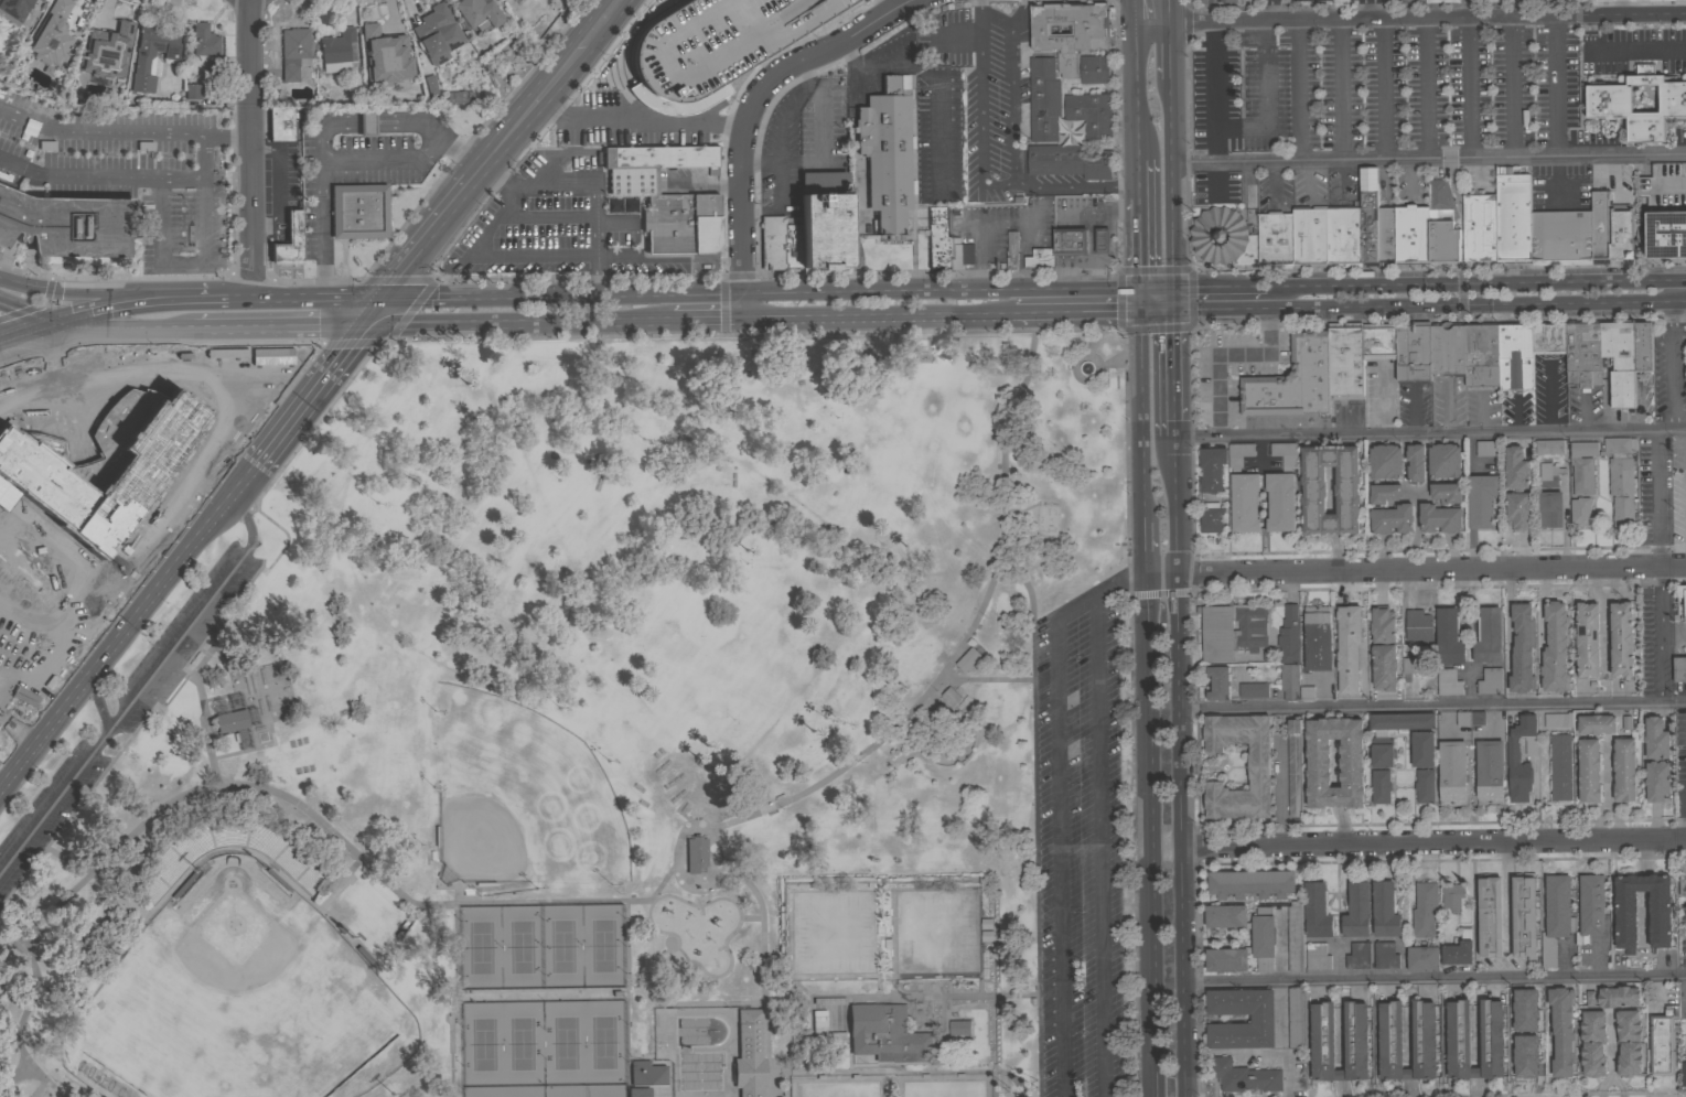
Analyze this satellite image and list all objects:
building: (40, 0)
building: (1440, 0)
building: (1220, 1)
building: (1411, 2)
building: (1545, 3)
road: (1673, 7)
road: (1469, 8)
road: (1275, 9)
road: (1367, 9)
building: (13, 10)
road: (1136, 11)
road: (1170, 11)
building: (477, 13)
road: (1410, 15)
building: (384, 32)
road: (1591, 32)
building: (51, 33)
building: (436, 33)
building: (203, 41)
building: (716, 41)
building: (1068, 42)
building: (335, 49)
road: (1639, 49)
road: (1170, 51)
building: (106, 52)
building: (293, 52)
building: (151, 54)
building: (386, 58)
building: (1094, 68)
building: (210, 72)
road: (933, 82)
building: (1070, 82)
building: (430, 84)
road: (1555, 86)
road: (1470, 87)
road: (1508, 87)
road: (1427, 88)
road: (1340, 89)
road: (1383, 89)
road: (1299, 90)
parking lot: (1382, 90)
building: (192, 92)
road: (540, 92)
road: (1138, 92)
road: (1212, 93)
building: (1043, 98)
building: (1609, 98)
road: (754, 101)
building: (1091, 112)
road: (634, 120)
building: (366, 122)
building: (280, 123)
road: (397, 125)
road: (324, 128)
road: (99, 132)
road: (204, 137)
road: (451, 144)
road: (250, 148)
building: (887, 152)
road: (388, 154)
building: (1068, 160)
road: (1429, 160)
road: (77, 173)
road: (492, 173)
road: (1615, 178)
road: (1556, 181)
road: (1140, 182)
road: (1173, 182)
road: (1077, 183)
road: (1000, 184)
road: (1672, 186)
road: (514, 194)
building: (666, 196)
building: (358, 212)
building: (1513, 215)
building: (1368, 216)
road: (998, 222)
building: (1442, 223)
road: (322, 224)
building: (67, 225)
building: (1479, 226)
building: (1599, 226)
building: (807, 234)
building: (1218, 234)
building: (1411, 234)
building: (1666, 234)
building: (1310, 236)
building: (1343, 236)
building: (1386, 236)
building: (1621, 236)
building: (1561, 237)
road: (423, 239)
building: (1102, 239)
building: (1275, 239)
building: (1071, 240)
building: (289, 243)
building: (945, 244)
road: (1141, 245)
building: (1012, 251)
road: (580, 254)
road: (595, 255)
building: (1040, 258)
road: (203, 262)
road: (1189, 268)
road: (1438, 268)
road: (1673, 278)
road: (1462, 280)
road: (599, 283)
road: (1220, 284)
road: (1158, 286)
traffic signals: (1173, 286)
road: (942, 289)
road: (74, 292)
road: (707, 292)
road: (1461, 292)
road: (582, 294)
road: (187, 295)
road: (437, 295)
road: (265, 297)
road: (343, 297)
traffic signals: (380, 297)
road: (1173, 297)
road: (1142, 298)
road: (119, 302)
road: (1474, 302)
road: (742, 304)
road: (1218, 308)
road: (1075, 309)
traffic signals: (1142, 309)
road: (1158, 309)
road: (371, 310)
road: (877, 313)
road: (23, 315)
road: (67, 315)
road: (705, 316)
road: (1439, 319)
road: (514, 321)
road: (323, 323)
traffic signals: (361, 323)
traffic signals: (46, 325)
road: (118, 325)
road: (238, 325)
road: (23, 333)
road: (758, 334)
building: (1549, 336)
building: (1379, 341)
building: (1643, 346)
building: (1447, 347)
building: (1414, 351)
building: (1583, 353)
road: (1225, 354)
building: (1481, 354)
building: (1515, 355)
building: (1684, 355)
building: (1620, 359)
building: (1345, 361)
road: (1673, 363)
fountain: (1084, 368)
fountain: (1085, 368)
road: (1173, 373)
road: (243, 379)
building: (1292, 379)
road: (1550, 395)
road: (308, 396)
road: (1449, 406)
road: (1415, 409)
road: (1483, 411)
road: (1143, 413)
road: (1429, 432)
building: (1549, 445)
building: (1285, 453)
building: (1239, 454)
building: (1443, 460)
building: (1385, 461)
building: (1415, 462)
building: (1582, 466)
building: (1211, 469)
building: (31, 472)
building: (1549, 472)
building: (1621, 477)
building: (1517, 488)
building: (1346, 490)
building: (1446, 492)
building: (1384, 493)
road: (1656, 495)
building: (1482, 499)
building: (1280, 501)
building: (1245, 502)
road: (3, 506)
building: (1549, 508)
road: (1019, 510)
building: (1580, 510)
building: (1506, 513)
road: (1130, 516)
road: (15, 517)
building: (1211, 517)
building: (1440, 517)
building: (1390, 518)
road: (1145, 546)
road: (51, 559)
road: (1416, 568)
road: (1612, 582)
road: (1023, 585)
road: (121, 596)
road: (1099, 596)
building: (1682, 600)
road: (1604, 616)
building: (1383, 624)
building: (1419, 626)
building: (1352, 627)
building: (1232, 628)
road: (127, 630)
building: (1289, 633)
road: (1661, 633)
building: (1489, 635)
building: (1448, 636)
building: (1318, 637)
building: (1588, 638)
building: (1608, 639)
building: (1622, 639)
building: (1574, 641)
road: (960, 642)
building: (1543, 647)
building: (1555, 647)
building: (1522, 648)
building: (1342, 657)
building: (1510, 657)
building: (968, 658)
building: (1410, 665)
building: (1384, 666)
building: (1679, 668)
road: (988, 680)
building: (1289, 680)
building: (1218, 681)
building: (1448, 681)
building: (1490, 681)
road: (140, 687)
building: (1347, 687)
building: (1253, 689)
building: (1307, 692)
building: (951, 696)
road: (99, 703)
road: (1432, 705)
building: (1469, 718)
building: (1557, 719)
building: (1402, 720)
building: (230, 721)
building: (1596, 723)
park: (587, 736)
building: (1613, 745)
building: (1421, 748)
building: (1382, 752)
building: (1409, 752)
building: (1371, 756)
building: (1513, 756)
building: (1656, 759)
building: (1319, 762)
building: (1258, 765)
road: (1180, 766)
building: (1560, 766)
building: (1293, 767)
building: (1624, 768)
building: (1589, 770)
building: (1490, 772)
building: (1451, 773)
road: (1608, 775)
building: (1424, 785)
building: (1381, 786)
road: (264, 788)
park: (518, 803)
road: (1684, 815)
road: (1608, 826)
road: (1149, 835)
road: (1433, 841)
parking lot: (1086, 849)
road: (1100, 849)
building: (695, 854)
road: (1033, 858)
road: (1057, 860)
building: (1683, 878)
building: (1252, 883)
road: (695, 890)
building: (1451, 899)
building: (1425, 906)
building: (1590, 907)
building: (1385, 908)
building: (1317, 910)
building: (1356, 910)
building: (1523, 915)
building: (1556, 915)
building: (1490, 916)
building: (1660, 918)
road: (750, 919)
building: (1295, 935)
building: (1261, 937)
building: (1610, 942)
road: (12, 945)
park: (539, 947)
building: (1457, 953)
building: (1357, 955)
building: (1385, 955)
building: (1317, 956)
building: (1422, 958)
road: (761, 959)
road: (1435, 979)
road: (587, 996)
building: (1618, 996)
building: (828, 1001)
park: (237, 1002)
road: (455, 1002)
building: (1296, 1017)
building: (1261, 1018)
building: (1511, 1020)
building: (1533, 1023)
building: (959, 1026)
building: (1303, 1028)
building: (1561, 1030)
building: (887, 1033)
building: (1491, 1033)
building: (1424, 1034)
building: (829, 1035)
building: (1355, 1035)
road: (1475, 1036)
building: (1663, 1041)
building: (1593, 1042)
building: (1629, 1042)
park: (541, 1044)
road: (1611, 1046)
building: (749, 1055)
road: (1547, 1055)
building: (1525, 1063)
road: (904, 1072)
road: (1475, 1072)
building: (1683, 1073)
building: (646, 1074)
building: (1244, 1076)
road: (1610, 1078)
road: (1475, 1087)
park: (547, 1091)
building: (637, 1091)
road: (1599, 1093)
road: (1621, 1093)

